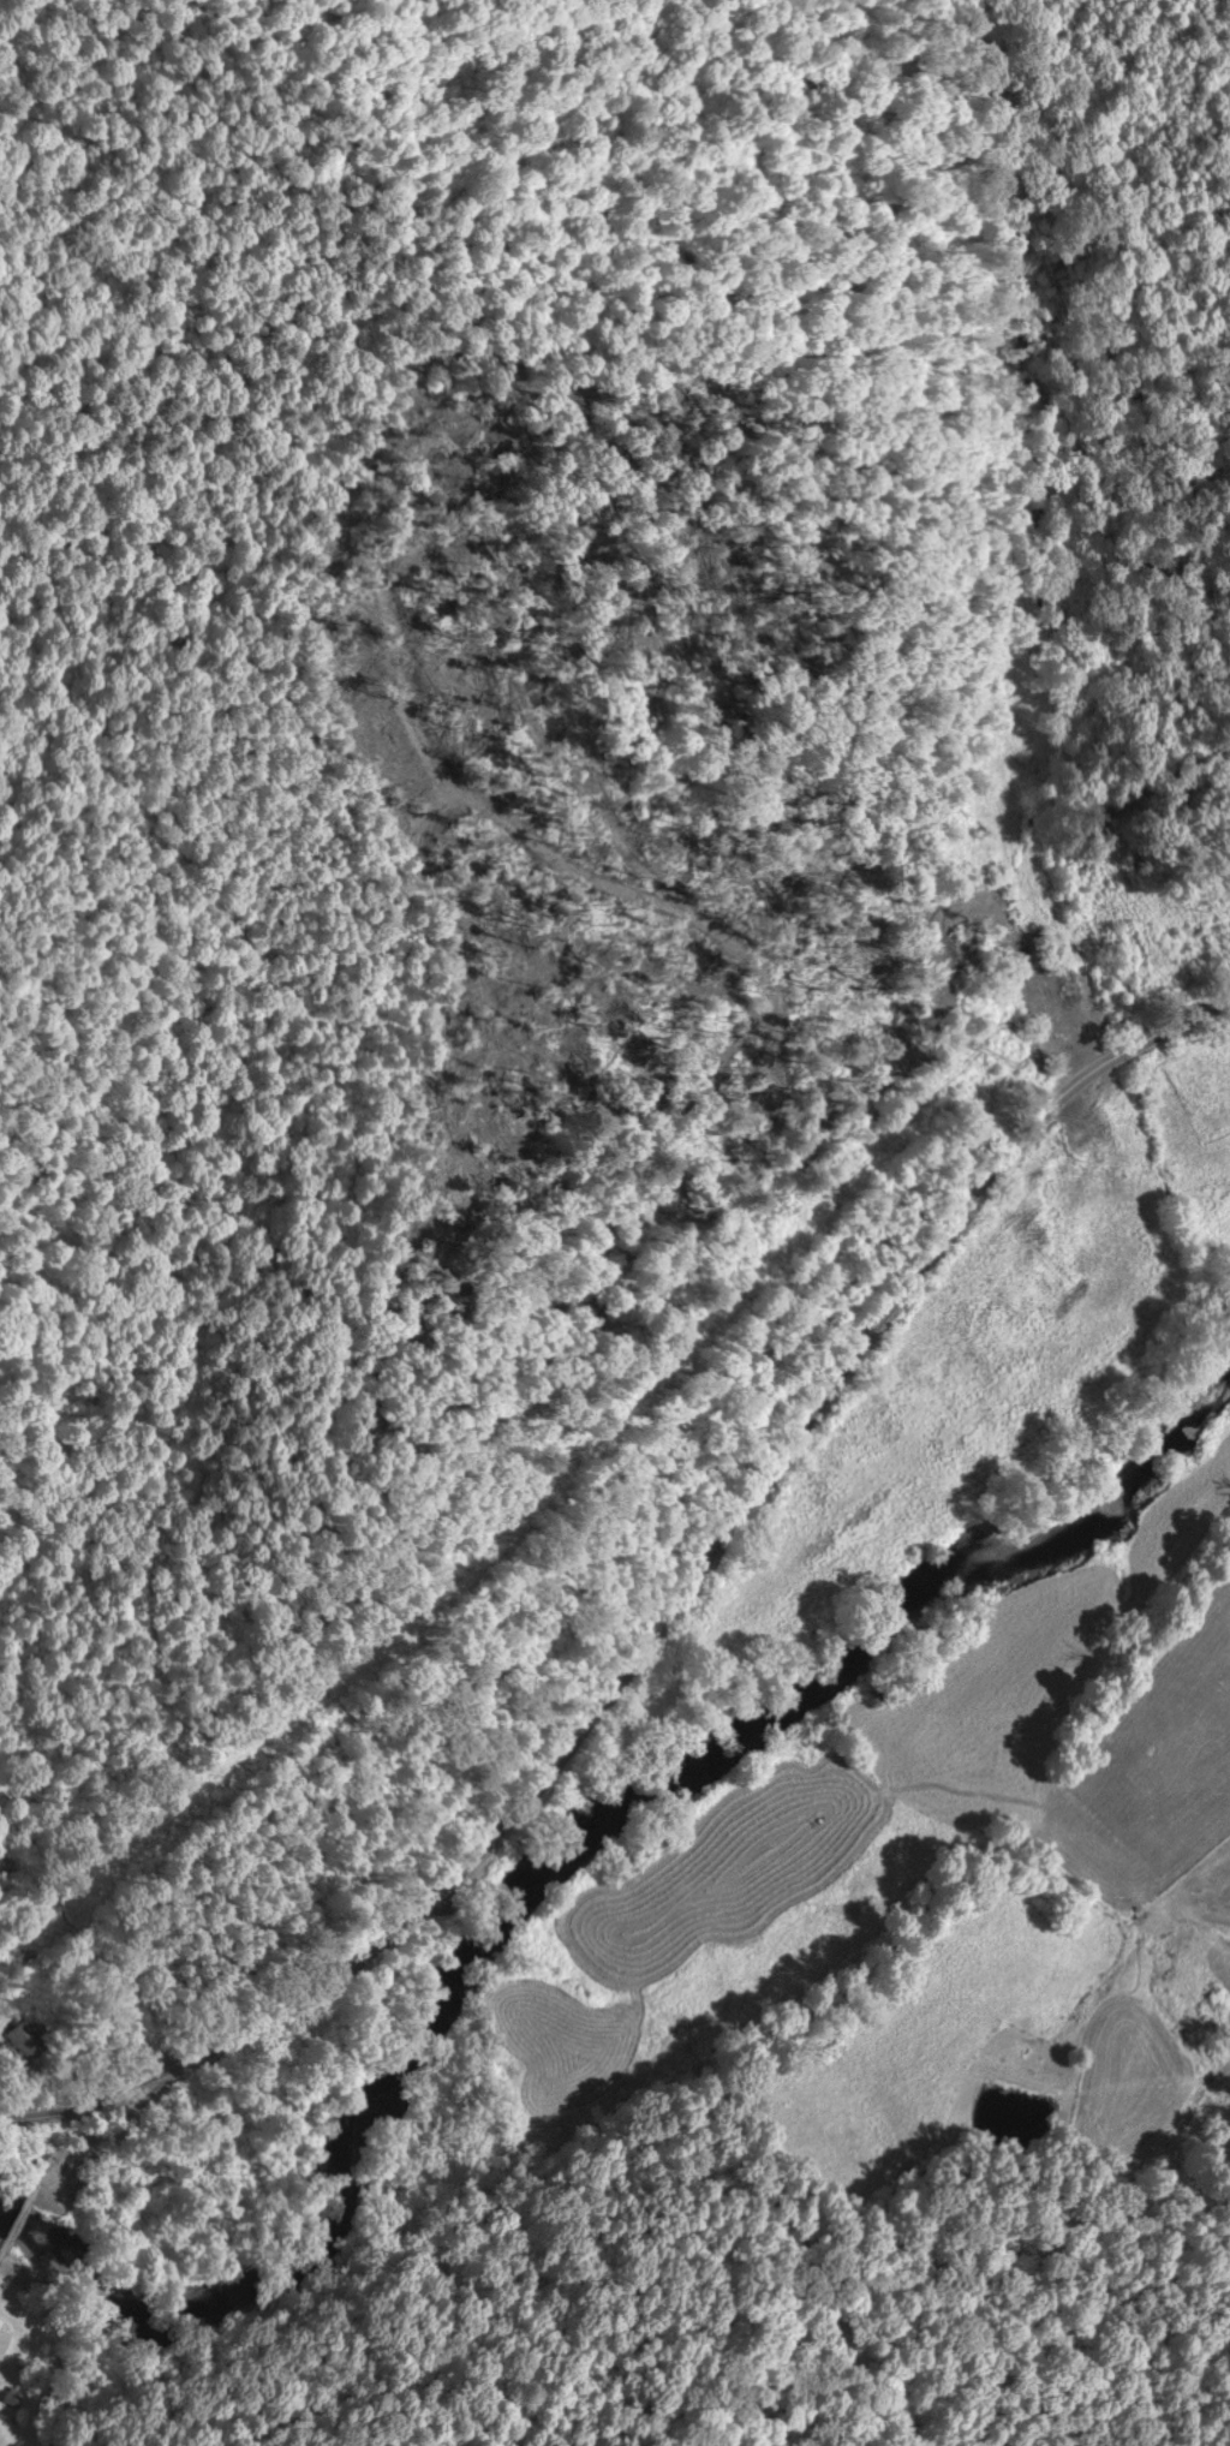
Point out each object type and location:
building: (1065, 1021)
road: (661, 1616)
river: (565, 1848)
building: (34, 2041)
road: (105, 2131)
road: (23, 2223)
road: (5, 2256)

